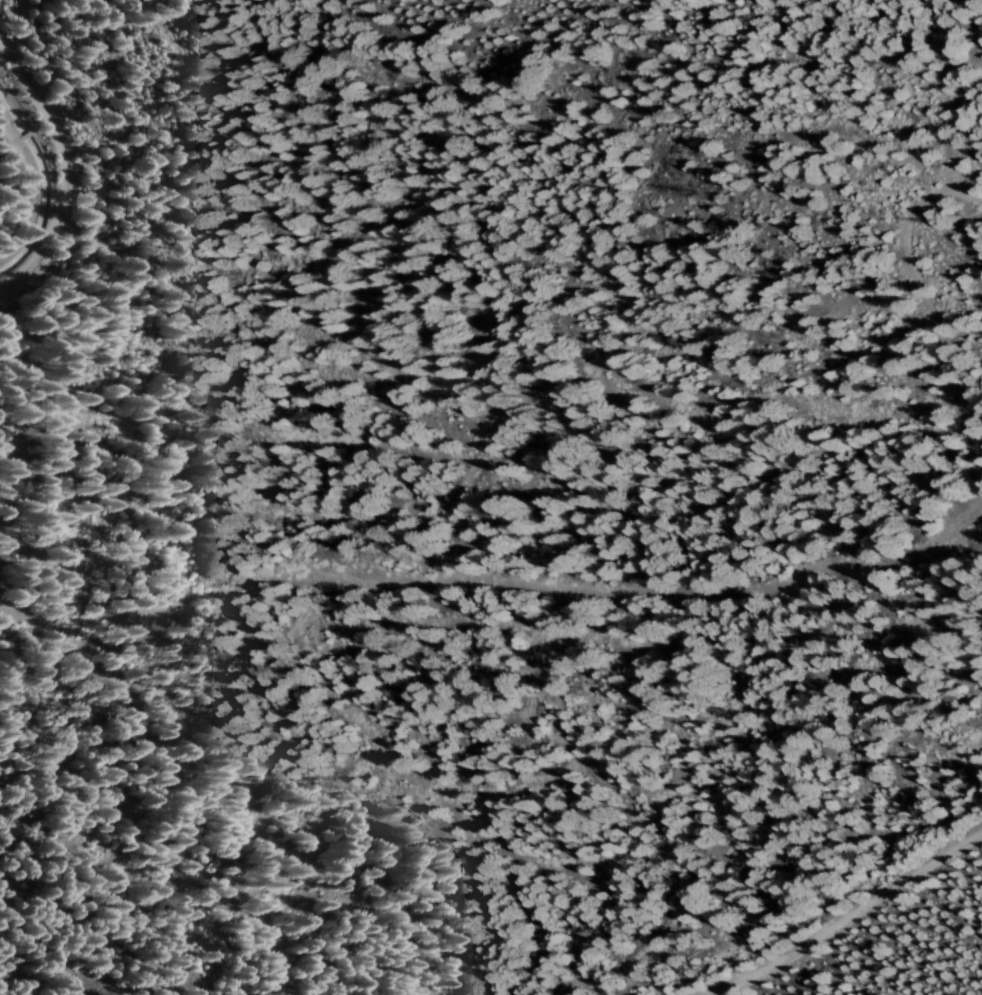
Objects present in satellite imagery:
road: (109, 177)

